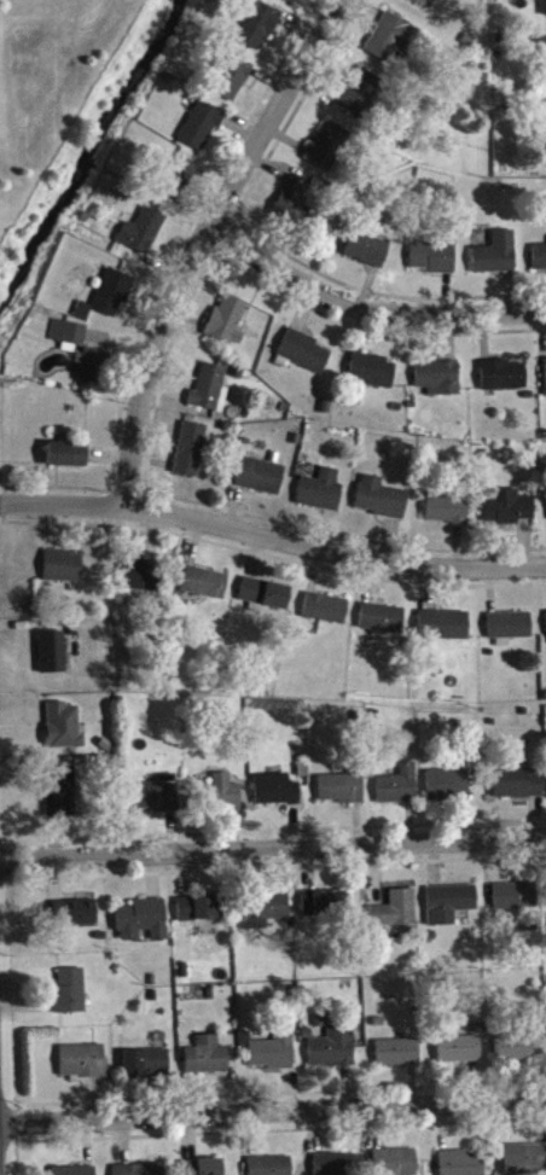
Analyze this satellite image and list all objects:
building: (287, 2)
building: (419, 4)
building: (257, 29)
building: (394, 45)
building: (544, 63)
building: (233, 83)
building: (361, 98)
building: (201, 132)
building: (330, 153)
building: (178, 184)
building: (294, 199)
building: (143, 237)
road: (201, 243)
building: (367, 255)
building: (496, 258)
building: (434, 262)
building: (539, 262)
building: (114, 297)
road: (367, 308)
building: (228, 325)
building: (68, 337)
building: (306, 356)
building: (92, 371)
building: (374, 376)
building: (505, 380)
building: (440, 383)
building: (211, 394)
building: (191, 454)
building: (68, 459)
building: (262, 481)
building: (323, 495)
building: (382, 504)
building: (509, 512)
building: (448, 513)
road: (272, 541)
building: (65, 571)
building: (141, 581)
building: (207, 588)
building: (267, 599)
building: (327, 613)
building: (384, 623)
building: (445, 630)
building: (510, 632)
building: (53, 657)
building: (64, 732)
building: (517, 786)
building: (448, 789)
building: (400, 791)
building: (343, 793)
building: (62, 795)
building: (278, 795)
building: (223, 797)
building: (155, 801)
road: (273, 851)
building: (516, 901)
building: (449, 909)
building: (198, 914)
building: (263, 915)
building: (396, 915)
building: (81, 917)
building: (143, 925)
building: (71, 996)
building: (335, 1053)
building: (459, 1054)
building: (513, 1054)
building: (273, 1057)
building: (399, 1058)
building: (208, 1061)
building: (83, 1066)
building: (146, 1068)
road: (273, 1115)
building: (525, 1162)
building: (396, 1164)
building: (461, 1165)
building: (336, 1167)
building: (272, 1168)
building: (207, 1169)
building: (141, 1171)
building: (76, 1174)

